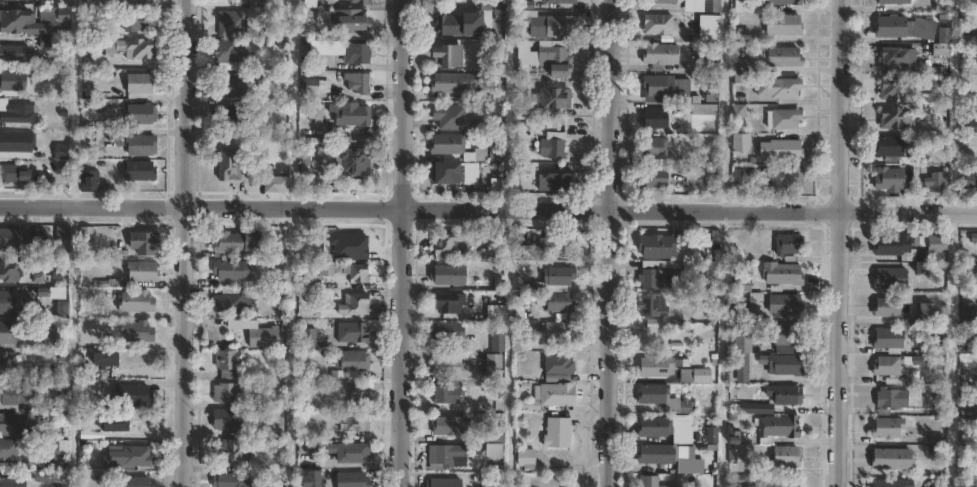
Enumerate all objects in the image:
building: (140, 0)
building: (738, 0)
building: (92, 1)
building: (559, 1)
building: (359, 2)
building: (667, 2)
building: (780, 2)
building: (894, 2)
building: (308, 3)
building: (264, 4)
building: (710, 6)
building: (141, 20)
building: (343, 20)
building: (23, 22)
building: (545, 24)
building: (457, 25)
building: (658, 25)
building: (782, 25)
building: (904, 28)
building: (969, 41)
building: (135, 48)
building: (227, 51)
building: (341, 51)
building: (940, 51)
building: (17, 53)
building: (658, 56)
building: (443, 57)
building: (782, 57)
building: (896, 58)
building: (974, 58)
building: (739, 59)
building: (541, 62)
building: (15, 80)
building: (145, 82)
building: (356, 83)
building: (450, 83)
building: (763, 87)
building: (225, 88)
building: (666, 88)
building: (896, 88)
building: (711, 92)
building: (495, 94)
building: (551, 99)
building: (934, 99)
building: (704, 109)
building: (144, 112)
building: (315, 113)
building: (20, 114)
building: (348, 115)
building: (232, 116)
building: (448, 117)
building: (654, 119)
building: (781, 119)
building: (893, 119)
building: (968, 125)
building: (17, 141)
building: (147, 144)
building: (738, 144)
building: (445, 145)
building: (889, 147)
building: (652, 148)
building: (551, 149)
building: (63, 151)
building: (779, 151)
building: (475, 156)
building: (304, 162)
building: (352, 162)
building: (226, 165)
building: (142, 171)
building: (15, 174)
building: (452, 174)
building: (651, 178)
building: (785, 178)
building: (888, 179)
building: (969, 179)
building: (92, 181)
building: (552, 181)
building: (936, 182)
building: (272, 185)
building: (355, 185)
road: (488, 207)
building: (11, 239)
building: (142, 241)
building: (443, 241)
road: (182, 243)
road: (401, 243)
building: (516, 243)
road: (610, 243)
building: (786, 243)
road: (836, 243)
building: (230, 244)
building: (936, 245)
building: (662, 246)
building: (554, 247)
building: (897, 248)
building: (140, 270)
building: (228, 270)
building: (344, 270)
building: (7, 273)
building: (780, 273)
building: (446, 274)
building: (647, 275)
building: (889, 279)
building: (276, 280)
building: (309, 280)
building: (107, 282)
building: (743, 284)
building: (557, 287)
building: (61, 293)
building: (134, 300)
building: (230, 302)
building: (446, 303)
building: (13, 304)
building: (352, 304)
building: (651, 305)
building: (785, 305)
building: (886, 307)
building: (969, 307)
building: (924, 311)
building: (739, 312)
building: (135, 330)
building: (350, 331)
building: (444, 331)
building: (555, 332)
building: (11, 333)
building: (784, 333)
building: (256, 335)
building: (307, 336)
building: (56, 338)
building: (887, 339)
building: (740, 341)
building: (520, 344)
building: (966, 344)
building: (102, 358)
building: (350, 360)
building: (492, 360)
building: (9, 362)
building: (226, 362)
building: (780, 363)
building: (556, 364)
building: (886, 365)
building: (654, 366)
building: (741, 366)
building: (450, 367)
building: (694, 375)
building: (89, 384)
building: (224, 393)
building: (444, 393)
building: (11, 394)
building: (130, 394)
building: (784, 394)
building: (549, 396)
building: (656, 396)
building: (891, 397)
building: (357, 398)
building: (685, 406)
building: (755, 408)
building: (968, 410)
building: (225, 419)
building: (352, 421)
building: (111, 422)
building: (8, 424)
building: (448, 425)
building: (653, 426)
building: (775, 427)
building: (886, 427)
building: (555, 432)
building: (710, 435)
building: (493, 436)
building: (732, 437)
building: (7, 448)
building: (48, 448)
building: (314, 448)
building: (351, 452)
building: (229, 453)
building: (660, 453)
building: (134, 455)
building: (446, 455)
building: (786, 456)
building: (891, 458)
building: (525, 459)
building: (49, 476)
building: (308, 479)
building: (350, 479)
building: (224, 480)
building: (743, 480)
building: (11, 481)
building: (130, 481)
building: (648, 481)
building: (781, 481)
building: (441, 482)
building: (891, 483)

